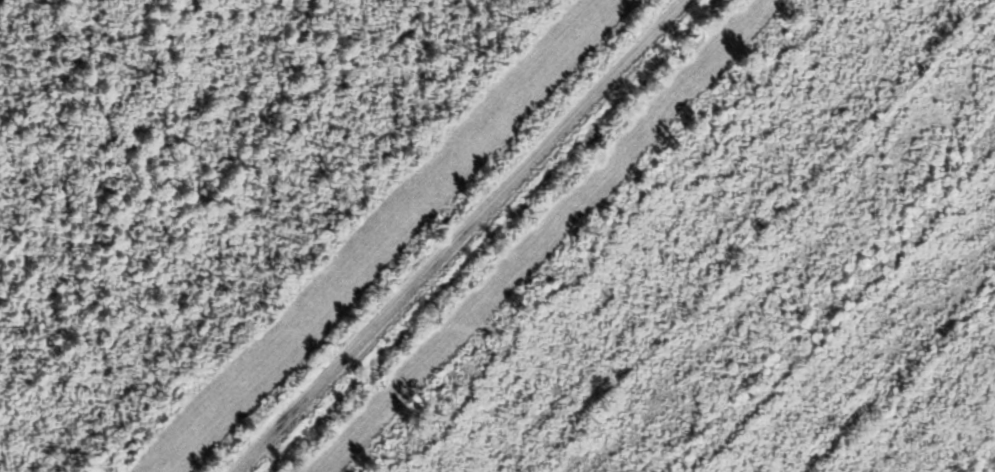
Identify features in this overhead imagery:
road: (457, 236)

